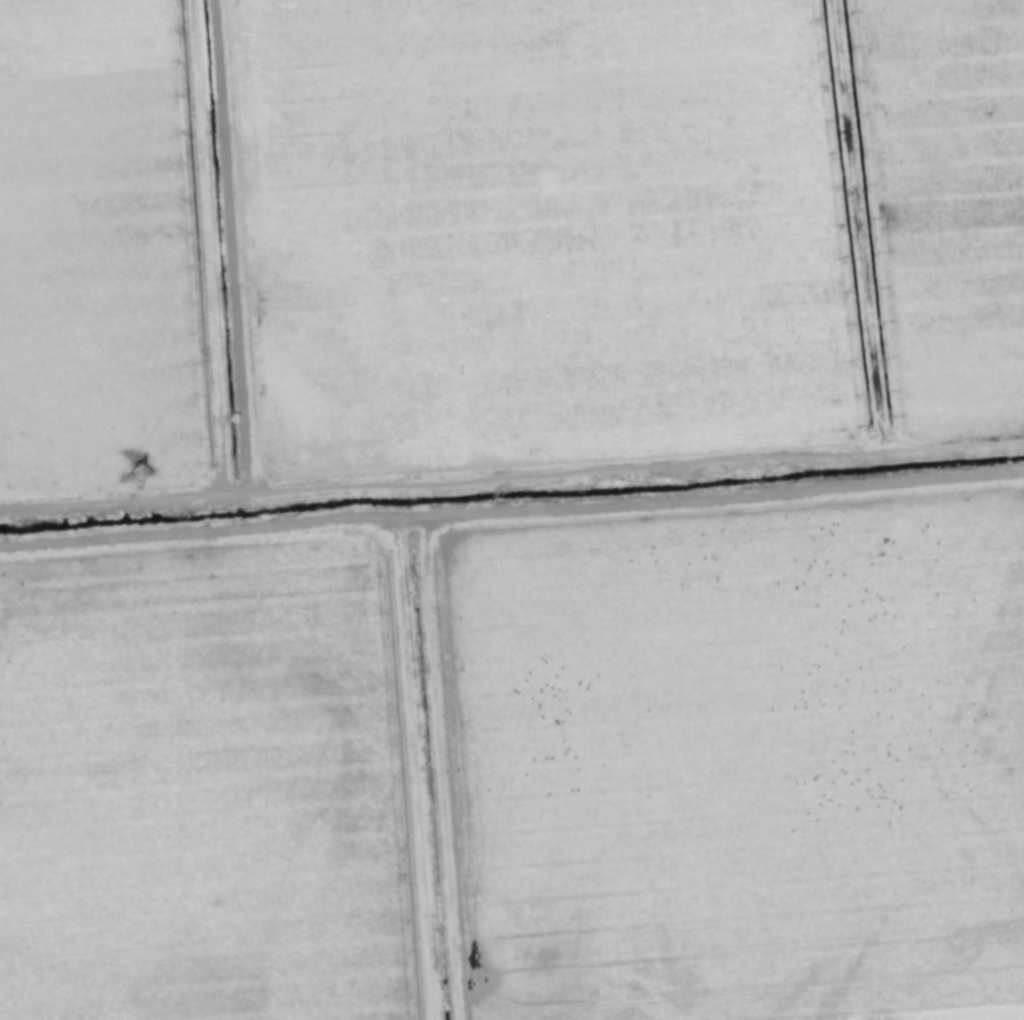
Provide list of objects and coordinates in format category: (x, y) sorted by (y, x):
power tower: (131, 491)

